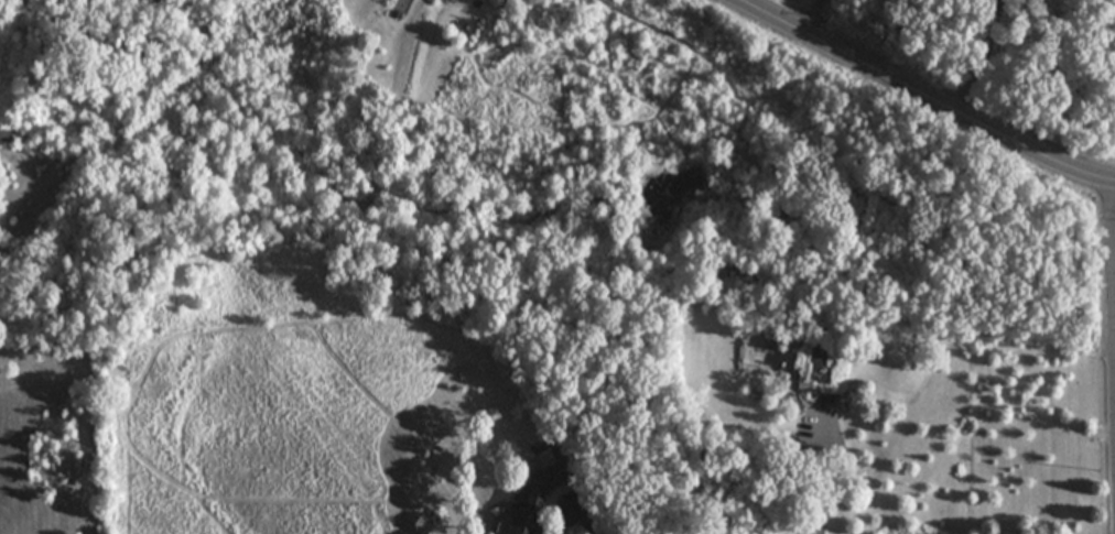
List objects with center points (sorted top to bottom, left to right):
road: (810, 19)
road: (923, 99)
building: (6, 134)
road: (840, 476)
building: (521, 509)
road: (577, 515)

